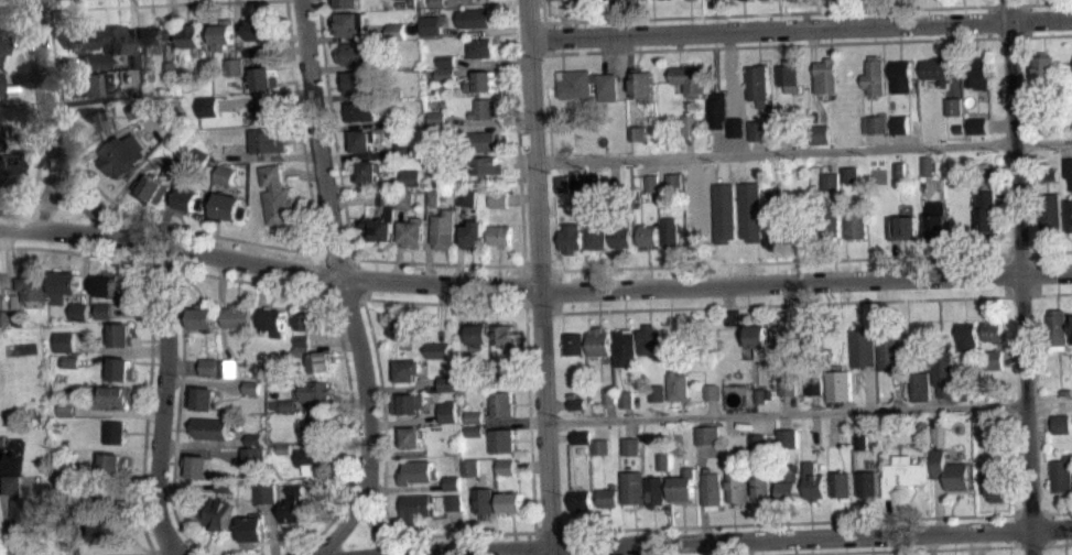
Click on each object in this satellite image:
building: (794, 0)
building: (844, 0)
building: (636, 1)
building: (716, 1)
building: (438, 2)
building: (476, 2)
building: (664, 2)
building: (690, 2)
building: (744, 2)
building: (767, 2)
building: (348, 3)
building: (413, 3)
building: (559, 3)
building: (586, 3)
building: (611, 3)
road: (1039, 3)
road: (154, 4)
building: (403, 4)
road: (18, 11)
road: (775, 13)
building: (475, 18)
building: (350, 23)
building: (432, 24)
road: (544, 26)
road: (801, 28)
building: (258, 29)
building: (397, 30)
building: (221, 34)
building: (156, 35)
building: (190, 35)
road: (1040, 35)
building: (86, 36)
building: (397, 37)
building: (120, 39)
building: (1, 45)
road: (770, 45)
building: (480, 46)
building: (253, 52)
building: (356, 53)
building: (137, 59)
building: (446, 59)
building: (95, 61)
building: (234, 66)
building: (169, 68)
building: (935, 69)
building: (1044, 69)
building: (446, 73)
building: (789, 75)
building: (826, 75)
building: (874, 75)
building: (901, 75)
building: (170, 76)
building: (978, 76)
building: (266, 78)
building: (691, 79)
building: (446, 80)
building: (359, 81)
building: (484, 81)
building: (0, 83)
building: (91, 83)
building: (587, 84)
building: (642, 84)
building: (758, 84)
building: (394, 91)
road: (264, 96)
road: (349, 96)
building: (208, 106)
building: (954, 106)
building: (138, 109)
building: (484, 109)
building: (717, 109)
building: (267, 110)
building: (362, 111)
building: (437, 118)
road: (489, 120)
building: (97, 122)
building: (691, 123)
building: (876, 123)
building: (900, 123)
building: (437, 126)
building: (977, 126)
road: (343, 127)
building: (735, 127)
building: (787, 127)
building: (959, 128)
road: (333, 129)
building: (759, 130)
road: (517, 133)
building: (638, 133)
building: (820, 133)
road: (53, 134)
building: (268, 141)
building: (359, 141)
building: (486, 141)
building: (0, 143)
road: (1042, 143)
building: (403, 150)
building: (229, 152)
road: (775, 152)
building: (122, 154)
building: (202, 155)
building: (928, 164)
building: (486, 165)
road: (672, 165)
building: (8, 167)
building: (174, 167)
building: (900, 168)
building: (1069, 168)
building: (367, 171)
building: (851, 173)
building: (225, 174)
building: (1048, 174)
building: (172, 177)
building: (901, 177)
building: (411, 178)
road: (36, 179)
building: (459, 179)
building: (830, 179)
road: (929, 179)
building: (674, 181)
building: (592, 182)
building: (651, 182)
building: (851, 182)
building: (1049, 182)
building: (562, 184)
building: (152, 187)
building: (831, 188)
building: (277, 196)
building: (433, 196)
building: (466, 196)
building: (387, 197)
road: (351, 198)
building: (404, 198)
building: (498, 198)
building: (190, 199)
road: (45, 203)
building: (386, 205)
building: (499, 206)
building: (227, 207)
building: (404, 207)
building: (986, 211)
building: (1048, 211)
building: (1069, 214)
building: (855, 219)
building: (936, 220)
road: (925, 221)
building: (830, 222)
building: (778, 224)
building: (380, 227)
building: (595, 227)
building: (903, 227)
building: (443, 229)
building: (701, 231)
building: (412, 232)
building: (620, 232)
building: (669, 232)
building: (499, 235)
building: (647, 235)
building: (473, 236)
building: (777, 236)
building: (570, 237)
road: (237, 239)
road: (398, 243)
road: (1046, 250)
road: (336, 257)
road: (894, 258)
road: (788, 260)
road: (437, 262)
road: (539, 268)
road: (323, 275)
road: (1021, 276)
road: (357, 277)
road: (540, 277)
road: (338, 279)
road: (245, 281)
building: (106, 283)
building: (63, 285)
road: (523, 285)
building: (32, 287)
road: (533, 287)
road: (556, 291)
building: (0, 292)
road: (1047, 293)
road: (346, 297)
road: (443, 302)
road: (533, 304)
road: (780, 304)
building: (79, 311)
building: (104, 311)
building: (239, 316)
building: (728, 316)
building: (202, 317)
building: (4, 318)
building: (312, 320)
building: (1071, 320)
building: (275, 322)
building: (1059, 326)
building: (308, 328)
building: (404, 328)
building: (990, 330)
building: (478, 333)
building: (119, 334)
building: (808, 334)
road: (150, 335)
building: (502, 335)
building: (781, 336)
building: (965, 336)
building: (302, 339)
building: (649, 339)
building: (758, 339)
building: (63, 341)
building: (599, 341)
building: (573, 342)
building: (860, 347)
building: (625, 348)
building: (438, 349)
building: (303, 350)
building: (887, 350)
building: (438, 357)
building: (990, 359)
building: (67, 361)
building: (321, 361)
building: (209, 366)
building: (120, 368)
building: (229, 368)
building: (69, 369)
building: (407, 369)
building: (941, 370)
road: (206, 382)
building: (447, 382)
building: (917, 382)
building: (812, 383)
building: (836, 383)
building: (252, 385)
building: (676, 385)
building: (787, 385)
road: (402, 387)
building: (314, 390)
building: (447, 390)
building: (710, 391)
building: (1064, 391)
building: (656, 392)
building: (252, 394)
building: (761, 394)
building: (607, 395)
building: (813, 395)
building: (112, 396)
building: (204, 398)
building: (625, 398)
building: (711, 399)
road: (163, 402)
building: (312, 402)
building: (502, 402)
road: (331, 403)
building: (408, 403)
building: (576, 403)
building: (283, 404)
building: (626, 406)
building: (67, 407)
building: (447, 411)
building: (577, 411)
road: (809, 411)
road: (119, 412)
building: (66, 416)
building: (474, 416)
road: (515, 418)
road: (530, 418)
building: (988, 420)
building: (1060, 423)
building: (320, 426)
building: (213, 427)
building: (474, 431)
building: (112, 432)
building: (706, 435)
building: (580, 436)
building: (411, 437)
building: (786, 437)
building: (253, 438)
building: (475, 438)
building: (859, 438)
building: (502, 440)
building: (756, 443)
building: (581, 444)
building: (599, 445)
building: (256, 446)
building: (630, 446)
building: (600, 454)
building: (253, 456)
building: (314, 460)
building: (662, 460)
building: (113, 464)
building: (199, 466)
building: (470, 467)
building: (506, 467)
building: (663, 469)
building: (69, 470)
building: (951, 470)
building: (418, 471)
building: (902, 474)
building: (1061, 474)
building: (814, 481)
building: (452, 482)
building: (867, 482)
road: (383, 483)
building: (736, 483)
building: (762, 485)
building: (841, 485)
building: (683, 486)
building: (997, 486)
building: (632, 487)
building: (711, 487)
building: (789, 487)
building: (453, 490)
building: (266, 491)
building: (653, 491)
building: (608, 497)
building: (580, 500)
building: (454, 501)
building: (484, 501)
building: (511, 501)
building: (30, 502)
building: (293, 503)
building: (416, 507)
building: (454, 509)
road: (1052, 512)
building: (217, 515)
road: (792, 521)
road: (344, 522)
building: (253, 526)
building: (109, 529)
road: (543, 531)
road: (718, 540)
road: (180, 542)
road: (162, 548)
road: (918, 548)
road: (137, 554)
building: (918, 554)

